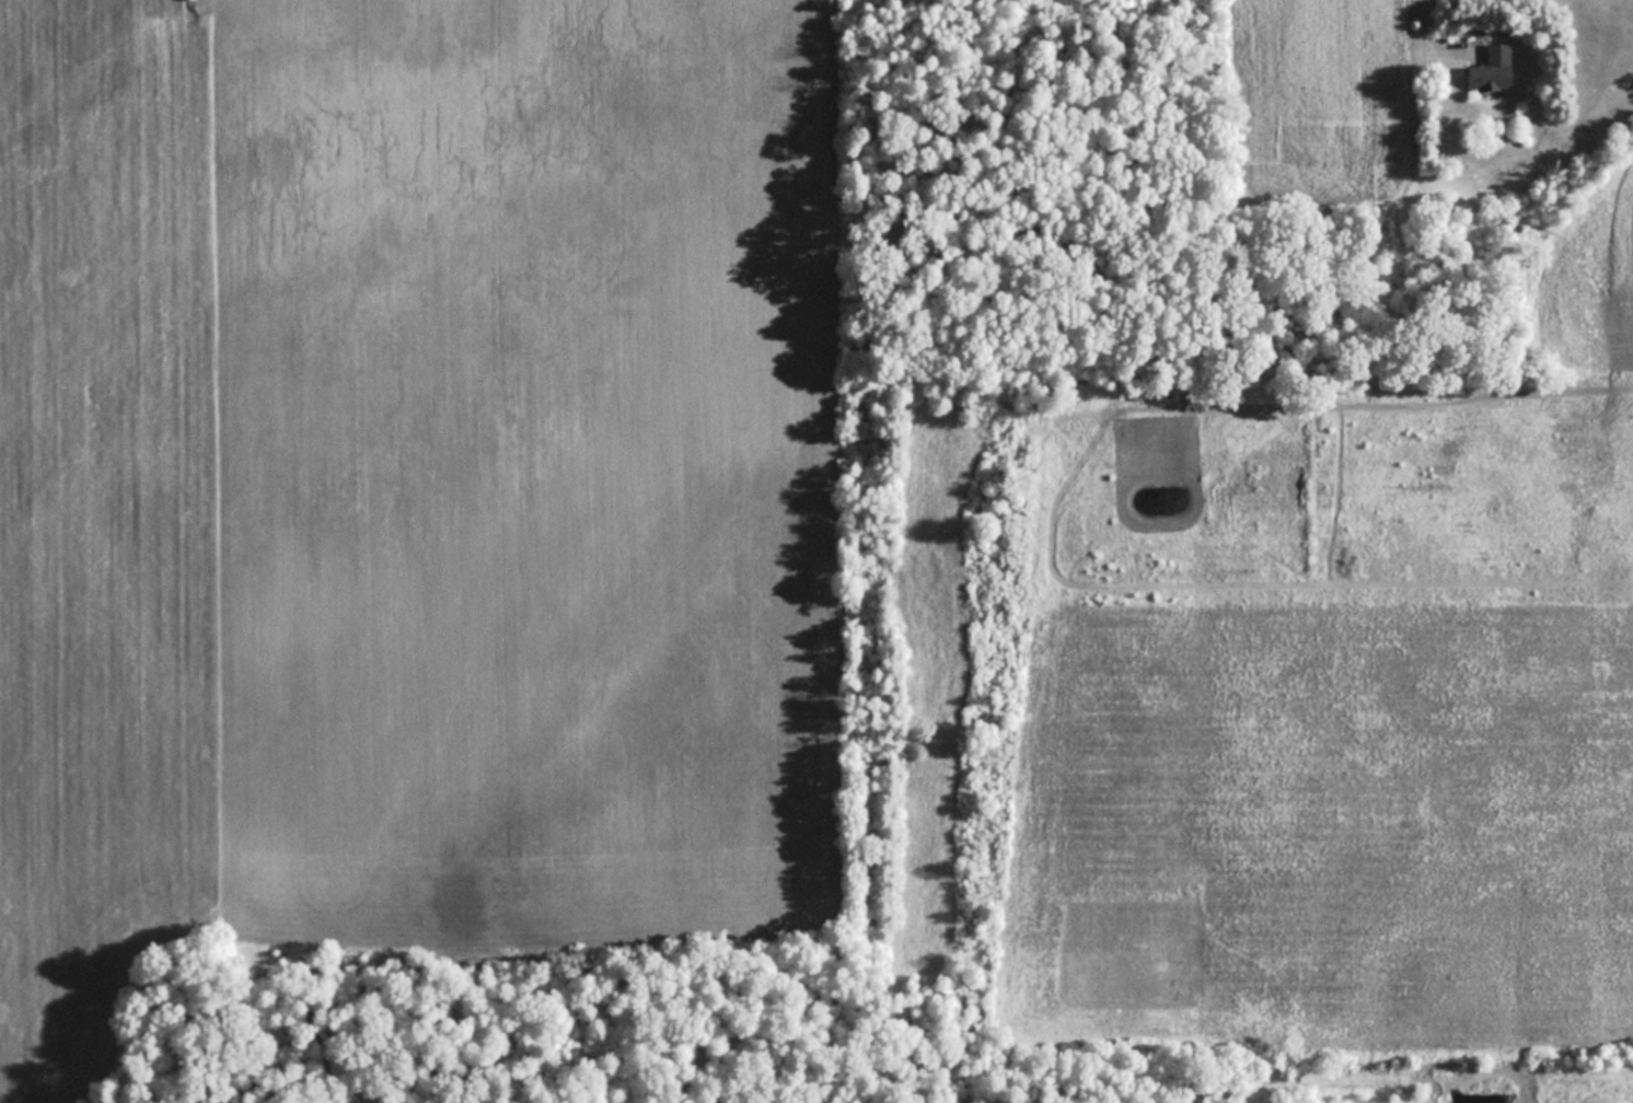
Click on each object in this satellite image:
road: (1433, 33)
building: (1494, 67)

